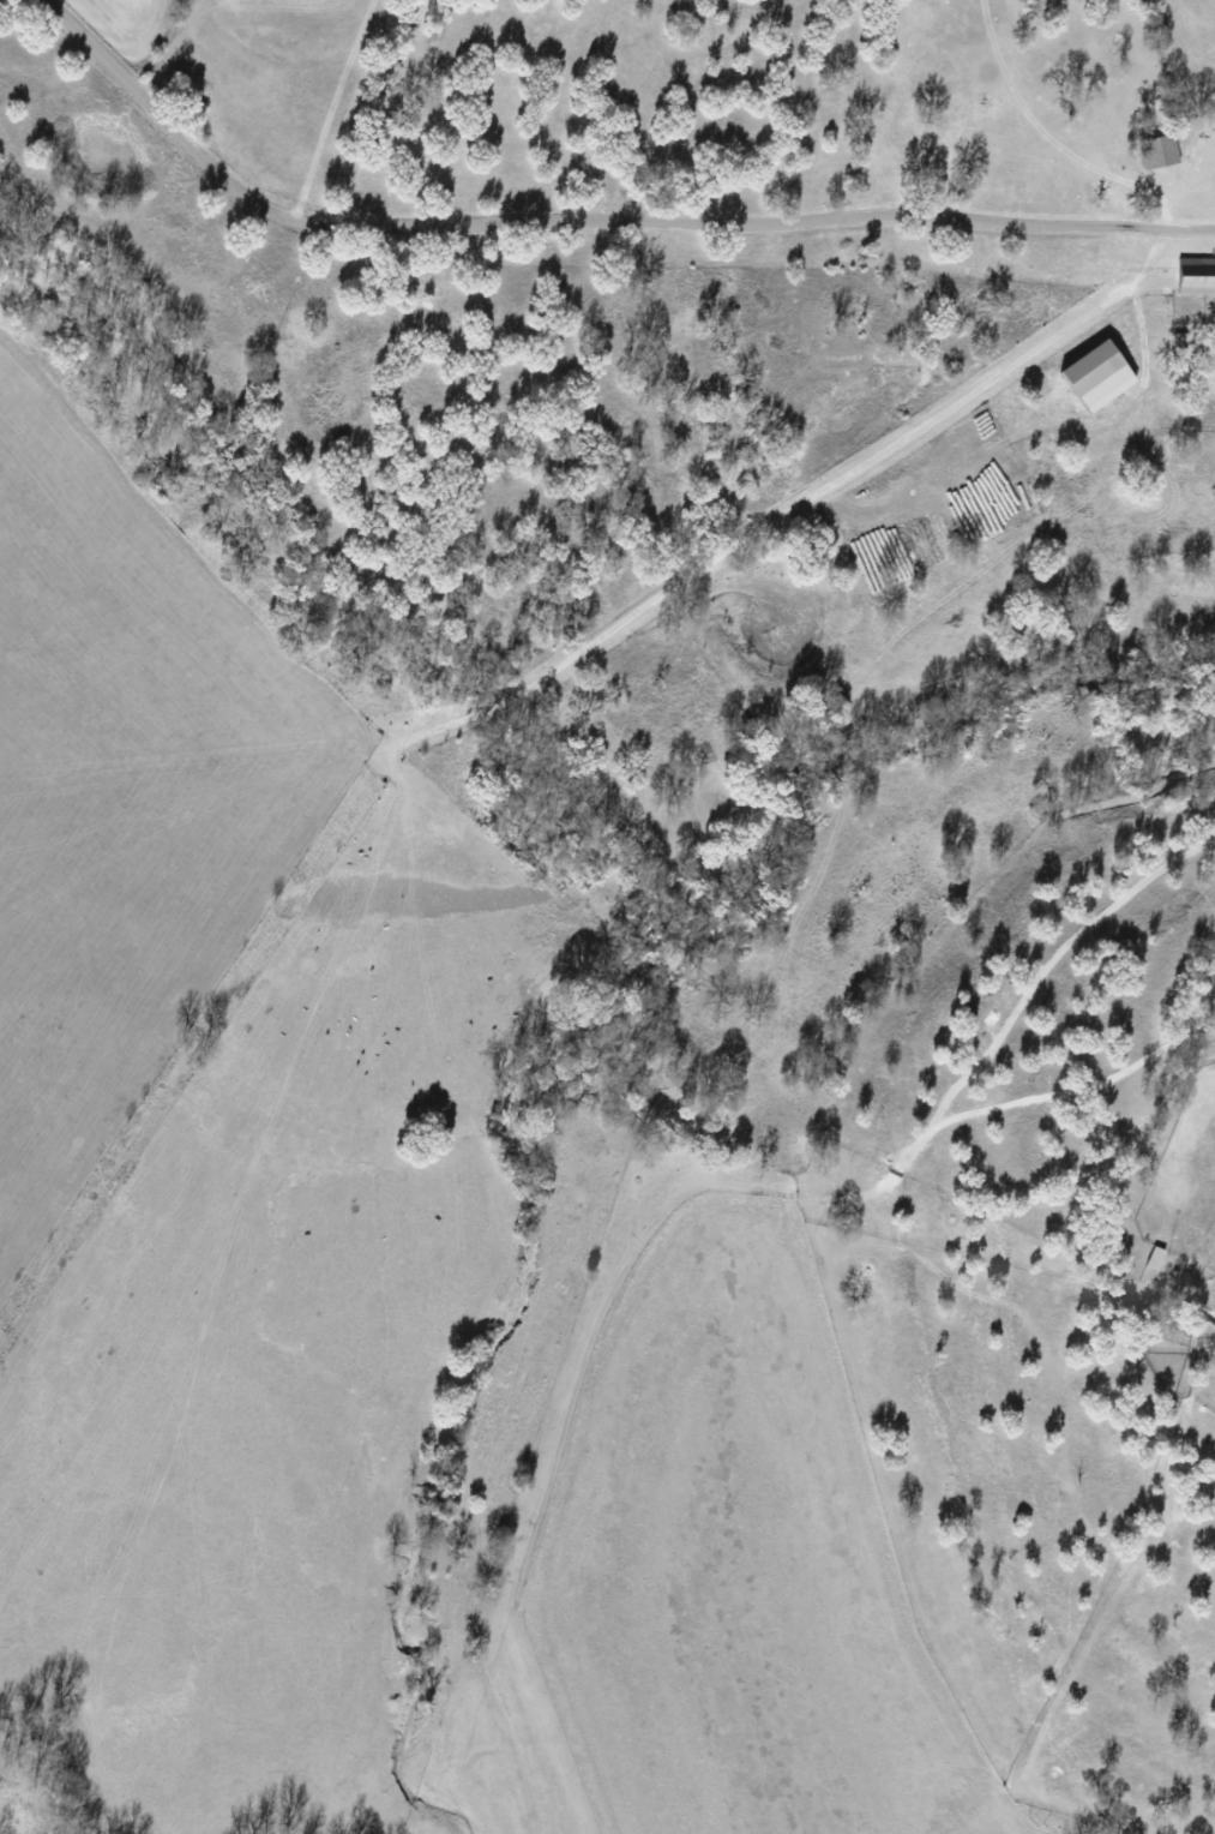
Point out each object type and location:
building: (1157, 150)
road: (585, 218)
building: (1193, 274)
building: (1095, 376)
road: (479, 801)
building: (1214, 1308)

